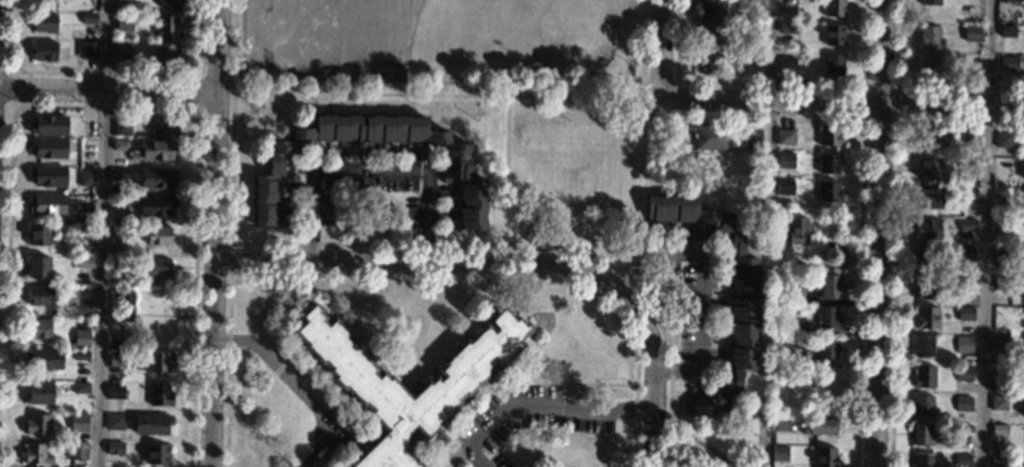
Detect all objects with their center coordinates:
building: (45, 0)
building: (752, 1)
building: (167, 3)
building: (930, 3)
building: (711, 7)
building: (834, 8)
building: (88, 18)
building: (44, 22)
building: (124, 23)
building: (166, 25)
building: (1007, 31)
building: (708, 33)
building: (972, 33)
building: (834, 34)
building: (930, 36)
road: (663, 40)
building: (783, 46)
building: (91, 49)
building: (123, 50)
building: (44, 51)
building: (166, 54)
building: (754, 60)
building: (787, 62)
building: (706, 63)
building: (833, 64)
building: (1008, 64)
building: (929, 65)
road: (108, 89)
road: (770, 102)
road: (838, 103)
building: (49, 125)
building: (121, 127)
building: (164, 127)
building: (829, 135)
building: (969, 135)
building: (785, 136)
building: (934, 136)
building: (710, 137)
building: (752, 137)
building: (1007, 140)
building: (120, 145)
building: (88, 147)
building: (48, 148)
building: (156, 150)
building: (785, 163)
building: (829, 163)
building: (968, 167)
building: (930, 170)
road: (370, 171)
building: (464, 172)
building: (49, 175)
building: (118, 175)
building: (85, 178)
building: (157, 178)
building: (784, 187)
building: (828, 191)
building: (968, 194)
building: (929, 198)
building: (46, 204)
building: (156, 206)
building: (85, 207)
building: (1023, 210)
building: (966, 226)
building: (1002, 226)
building: (927, 228)
building: (118, 230)
building: (797, 230)
road: (102, 233)
road: (216, 233)
road: (878, 233)
road: (987, 233)
building: (40, 234)
building: (157, 235)
building: (84, 246)
building: (965, 253)
building: (1002, 253)
building: (925, 258)
building: (83, 262)
road: (426, 264)
building: (795, 266)
building: (38, 267)
building: (157, 267)
building: (964, 283)
building: (1002, 283)
road: (704, 285)
building: (830, 287)
building: (927, 288)
building: (38, 296)
building: (794, 296)
building: (123, 305)
building: (81, 307)
building: (742, 307)
building: (965, 313)
building: (926, 317)
building: (828, 319)
building: (1000, 323)
building: (82, 324)
building: (38, 328)
building: (794, 329)
building: (81, 338)
building: (1000, 342)
building: (116, 343)
building: (963, 345)
building: (923, 347)
building: (828, 348)
building: (80, 355)
building: (792, 355)
building: (43, 359)
building: (116, 359)
building: (158, 362)
building: (963, 373)
building: (998, 373)
building: (923, 376)
road: (654, 380)
building: (828, 381)
road: (295, 385)
building: (80, 387)
building: (372, 388)
building: (115, 391)
building: (39, 394)
building: (160, 395)
building: (998, 402)
building: (963, 404)
road: (542, 405)
building: (922, 405)
building: (1023, 410)
building: (114, 421)
building: (78, 423)
building: (781, 423)
building: (37, 424)
building: (152, 424)
building: (820, 426)
building: (963, 428)
building: (999, 430)
building: (922, 436)
road: (761, 437)
building: (114, 448)
building: (77, 450)
building: (36, 454)
building: (156, 454)
building: (779, 454)
building: (825, 457)
building: (922, 460)
building: (999, 460)
building: (962, 461)

